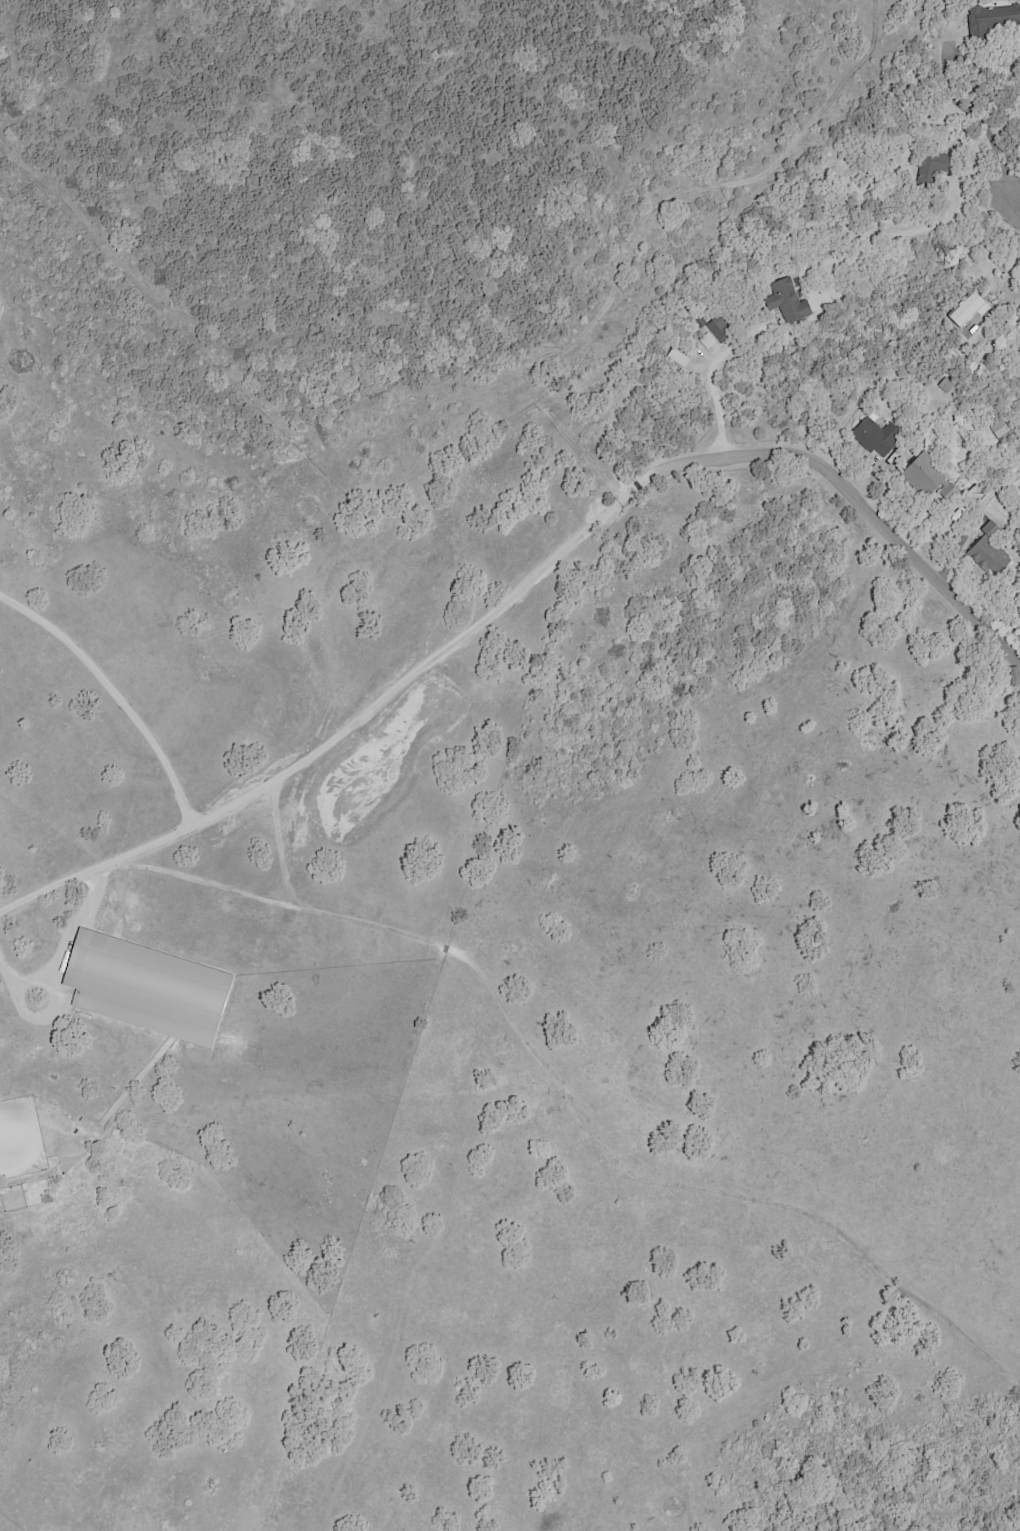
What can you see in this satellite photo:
building: (994, 19)
road: (979, 123)
road: (1007, 209)
road: (928, 224)
road: (1008, 280)
building: (785, 301)
building: (966, 310)
building: (718, 330)
building: (706, 340)
road: (712, 389)
building: (873, 436)
building: (928, 479)
road: (861, 500)
building: (989, 556)
road: (114, 697)
road: (349, 728)
road: (65, 950)
building: (147, 988)

